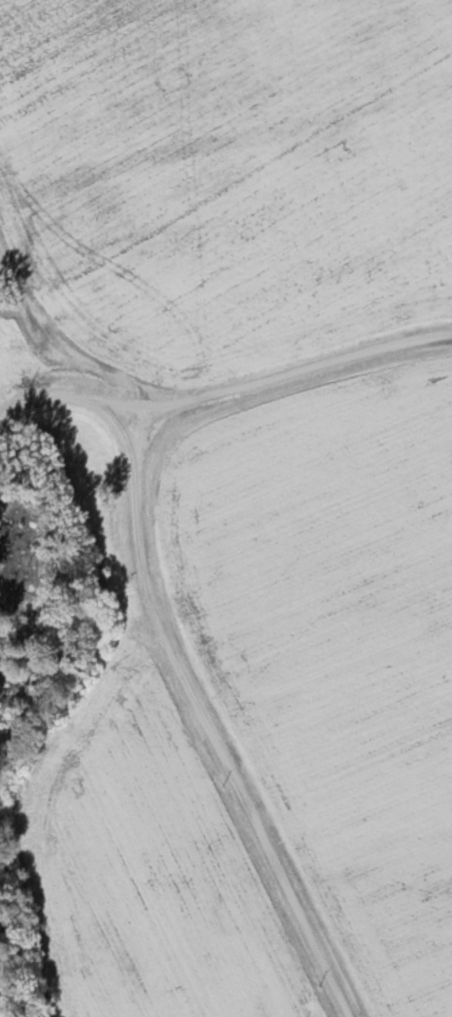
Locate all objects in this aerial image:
road: (225, 389)
road: (215, 722)

